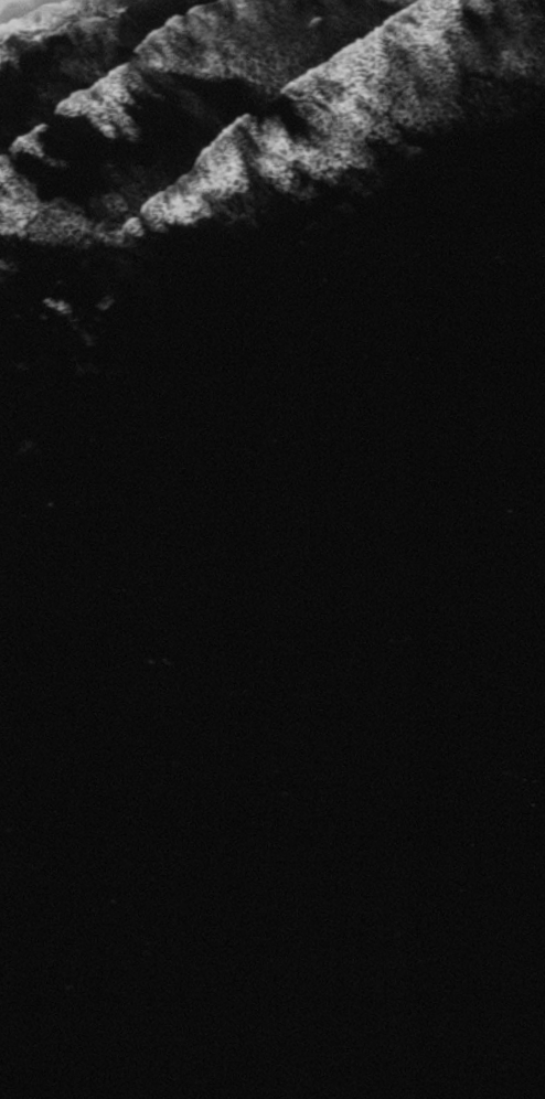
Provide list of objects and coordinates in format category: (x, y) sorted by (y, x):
park: (42, 17)

